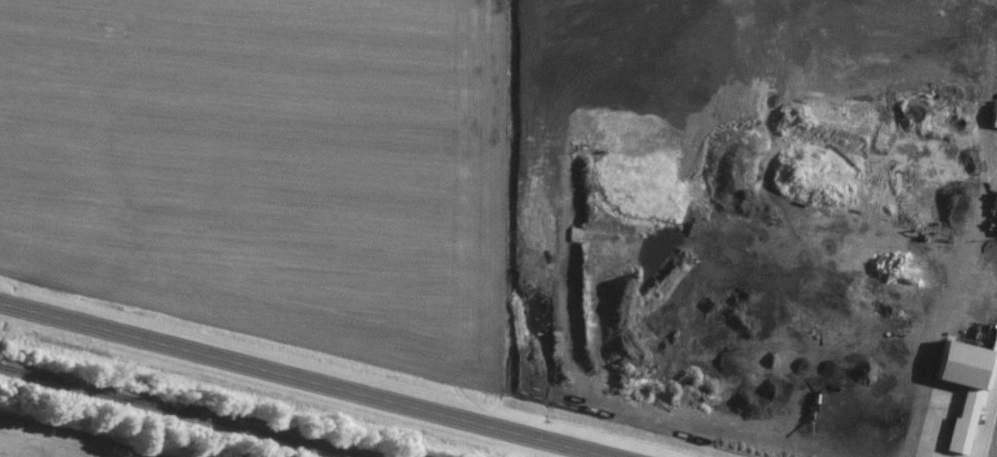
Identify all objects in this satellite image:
building: (990, 115)
building: (911, 172)
building: (994, 224)
road: (972, 249)
road: (294, 382)
railway: (172, 413)

